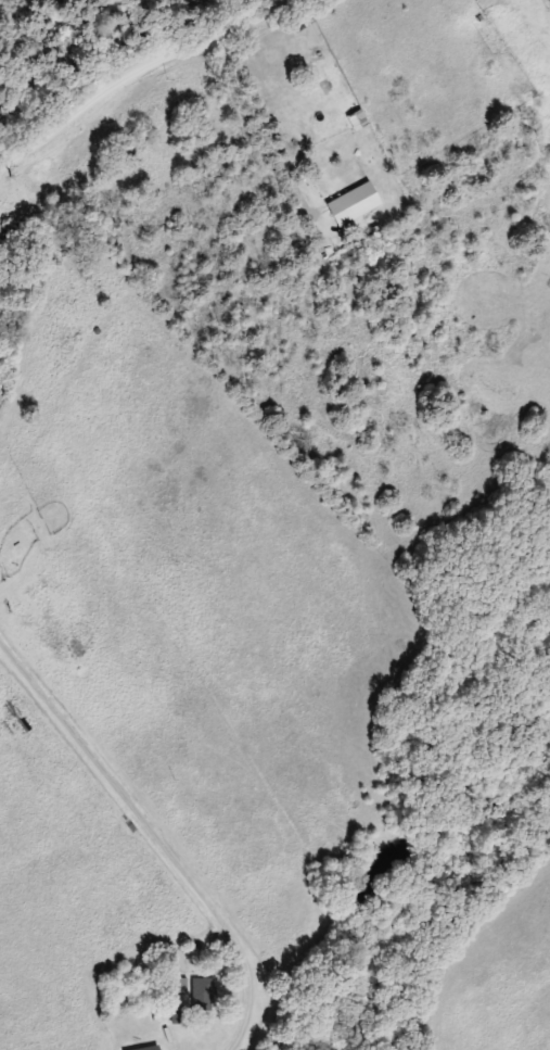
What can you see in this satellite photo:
road: (132, 69)
road: (264, 143)
building: (351, 203)
road: (156, 836)
building: (179, 987)
building: (204, 996)
building: (178, 1015)
building: (151, 1048)

